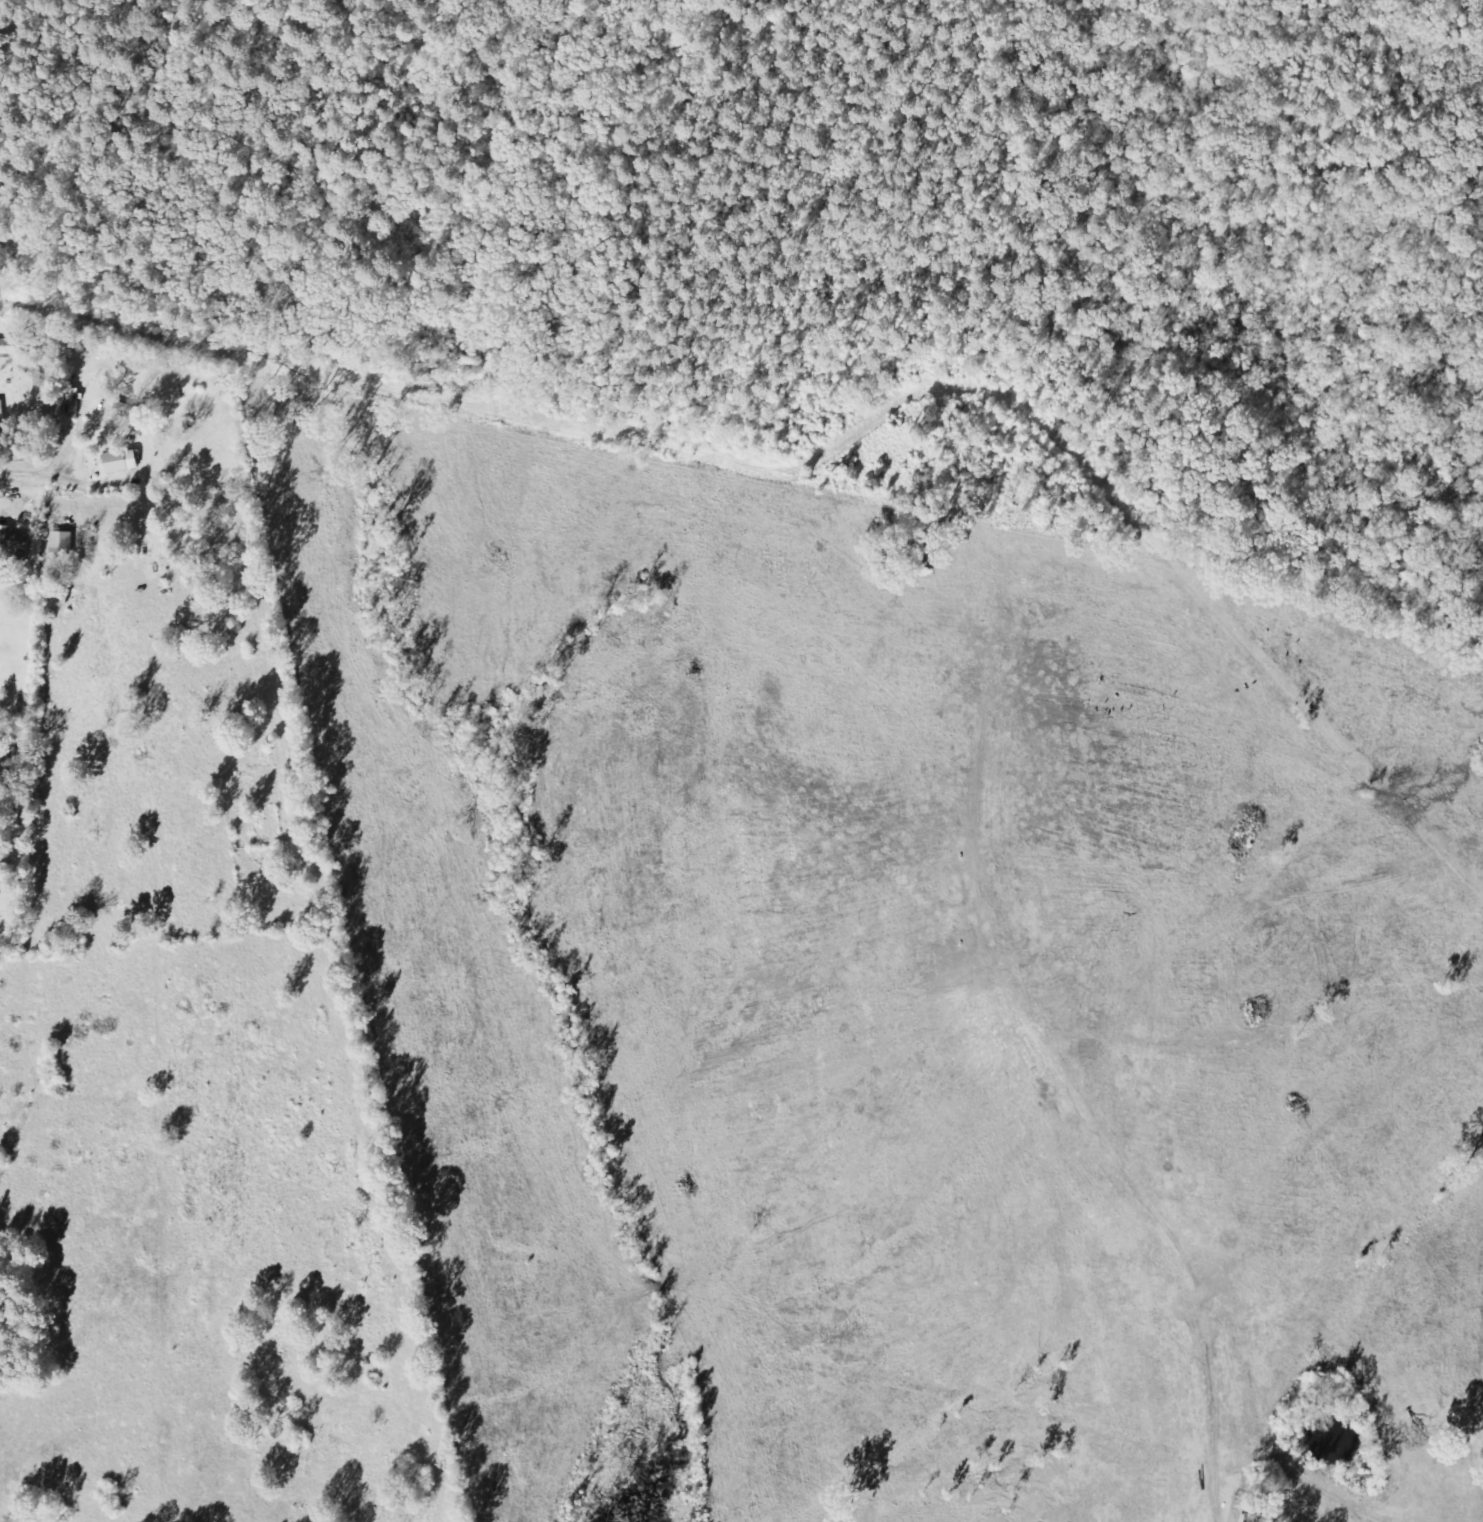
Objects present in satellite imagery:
building: (11, 347)
building: (62, 543)
building: (14, 544)
road: (315, 616)
building: (0, 857)

